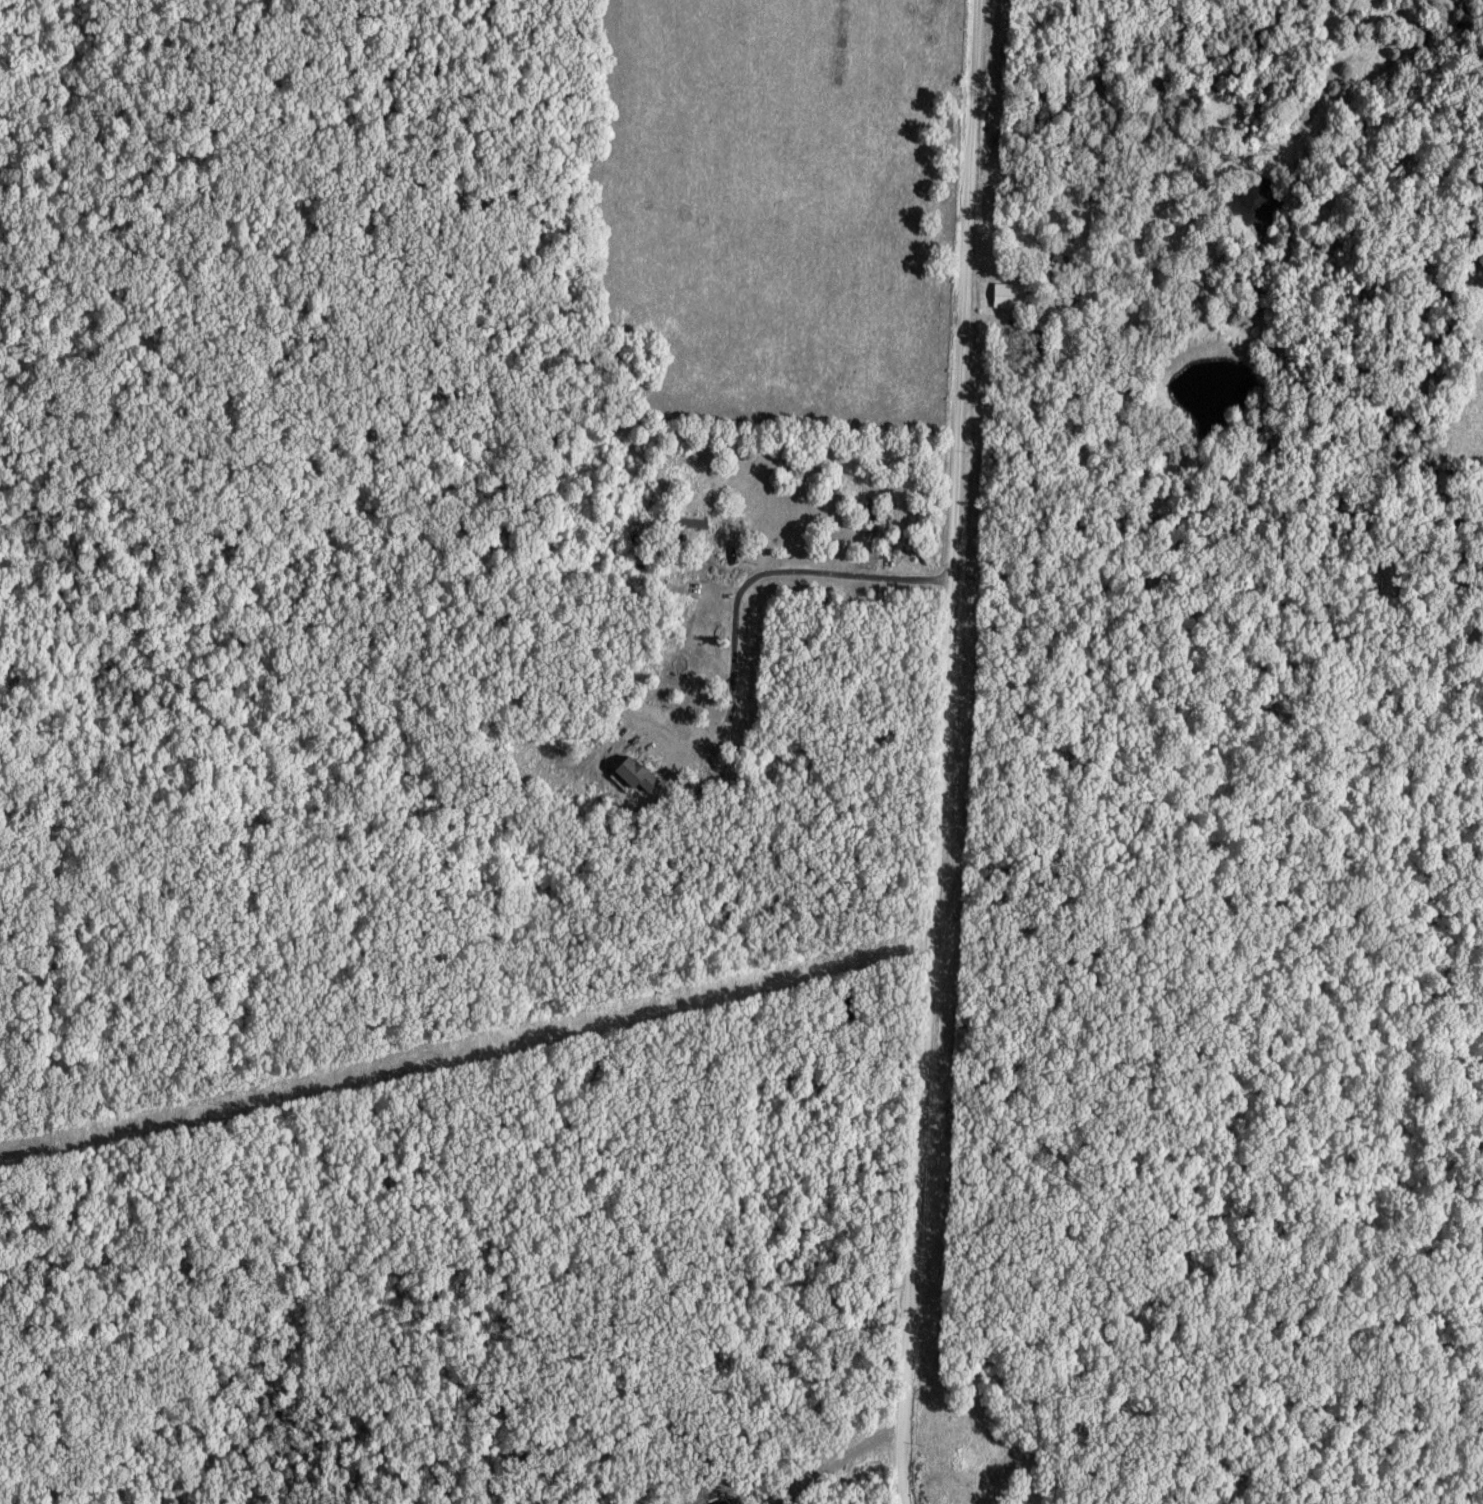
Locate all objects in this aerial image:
building: (1059, 264)
building: (1010, 295)
building: (1038, 346)
building: (870, 516)
road: (849, 571)
road: (943, 752)
building: (638, 771)
road: (456, 1270)

